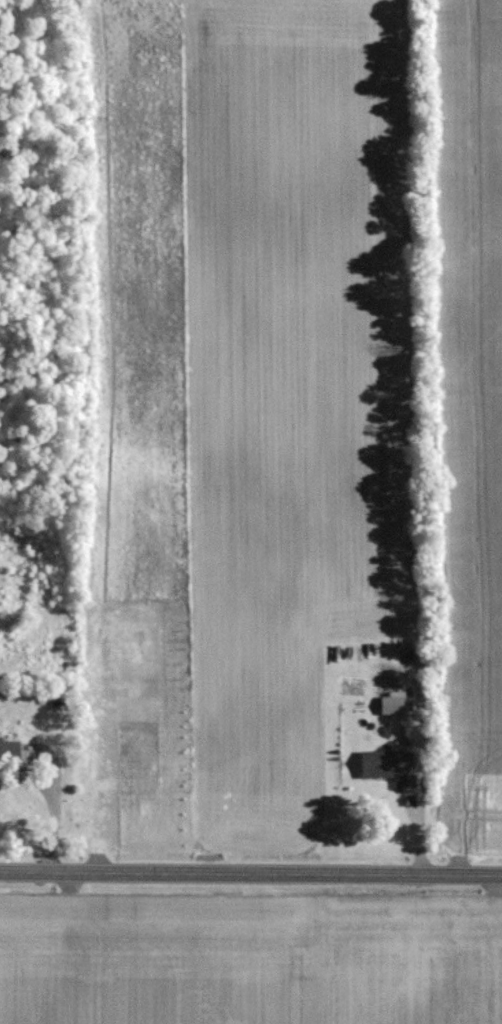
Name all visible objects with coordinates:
building: (392, 704)
building: (9, 747)
building: (384, 764)
road: (53, 810)
road: (251, 872)

